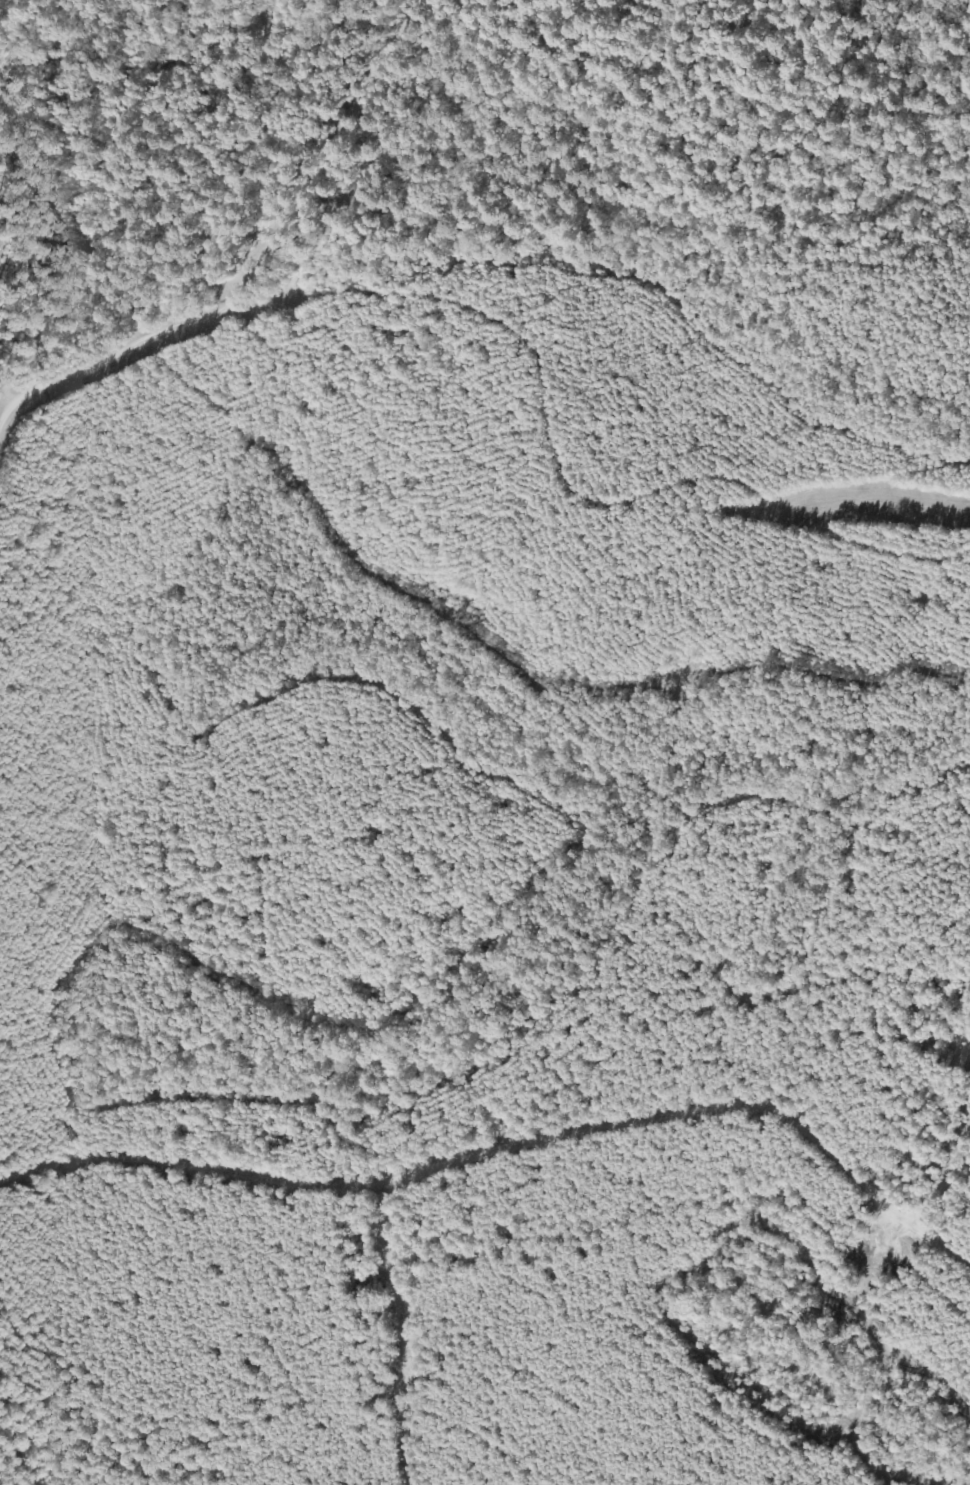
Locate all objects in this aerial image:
park: (770, 58)

